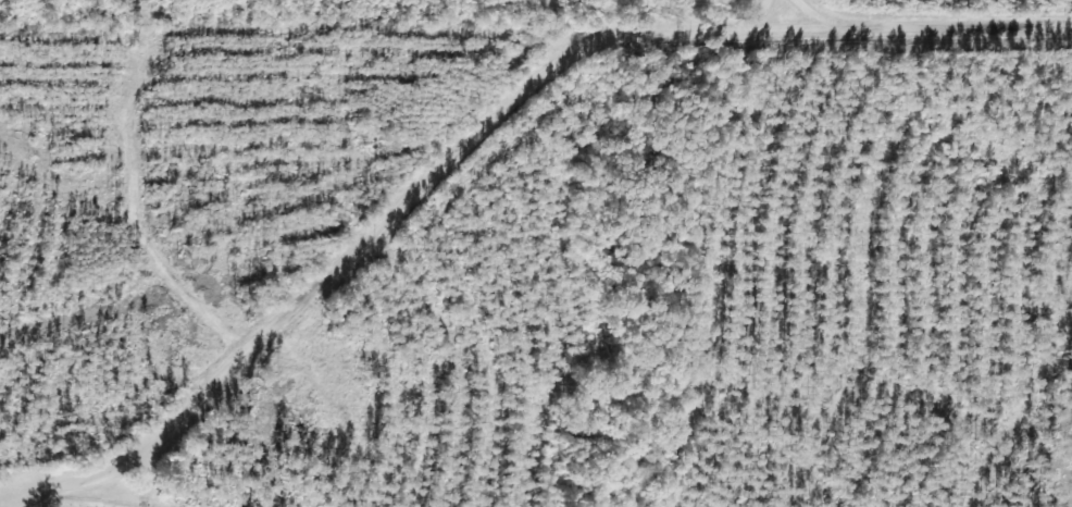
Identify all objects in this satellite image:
road: (830, 16)
road: (969, 27)
road: (410, 196)
park: (92, 503)

